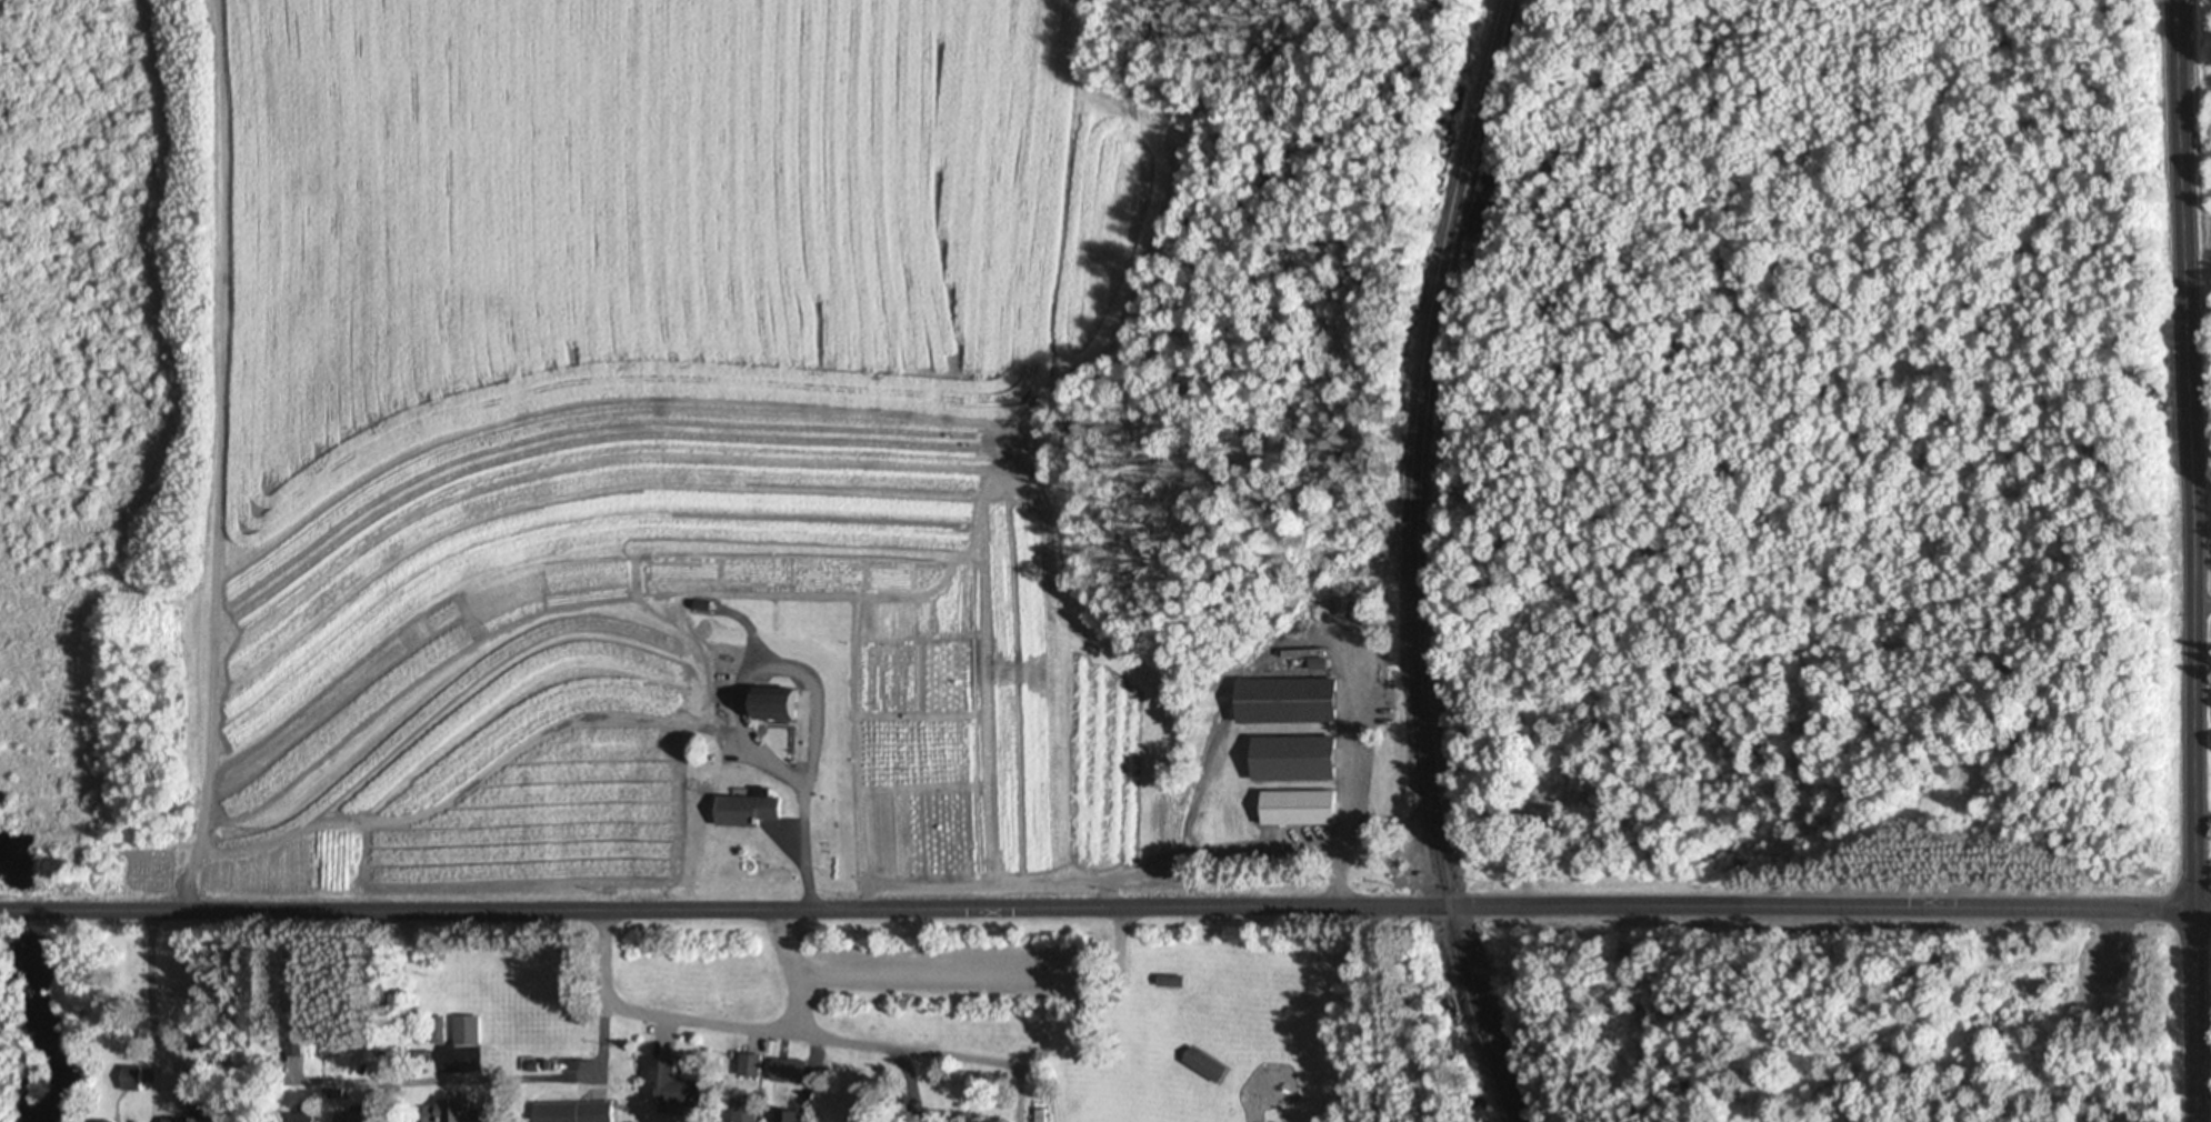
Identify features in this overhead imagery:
road: (2182, 455)
railway: (1413, 562)
building: (1280, 703)
building: (767, 707)
building: (1289, 761)
building: (1293, 811)
building: (742, 812)
road: (1094, 904)
road: (2200, 911)
building: (1164, 985)
park: (1093, 1004)
road: (1389, 1014)
road: (2191, 1016)
building: (431, 1033)
building: (462, 1033)
road: (891, 1041)
building: (1200, 1068)
building: (746, 1069)
building: (783, 1074)
building: (128, 1082)
building: (668, 1089)
building: (741, 1111)
building: (568, 1113)
building: (448, 1114)
building: (197, 1115)
building: (343, 1118)
road: (1393, 1118)
building: (296, 1119)
building: (784, 1119)

